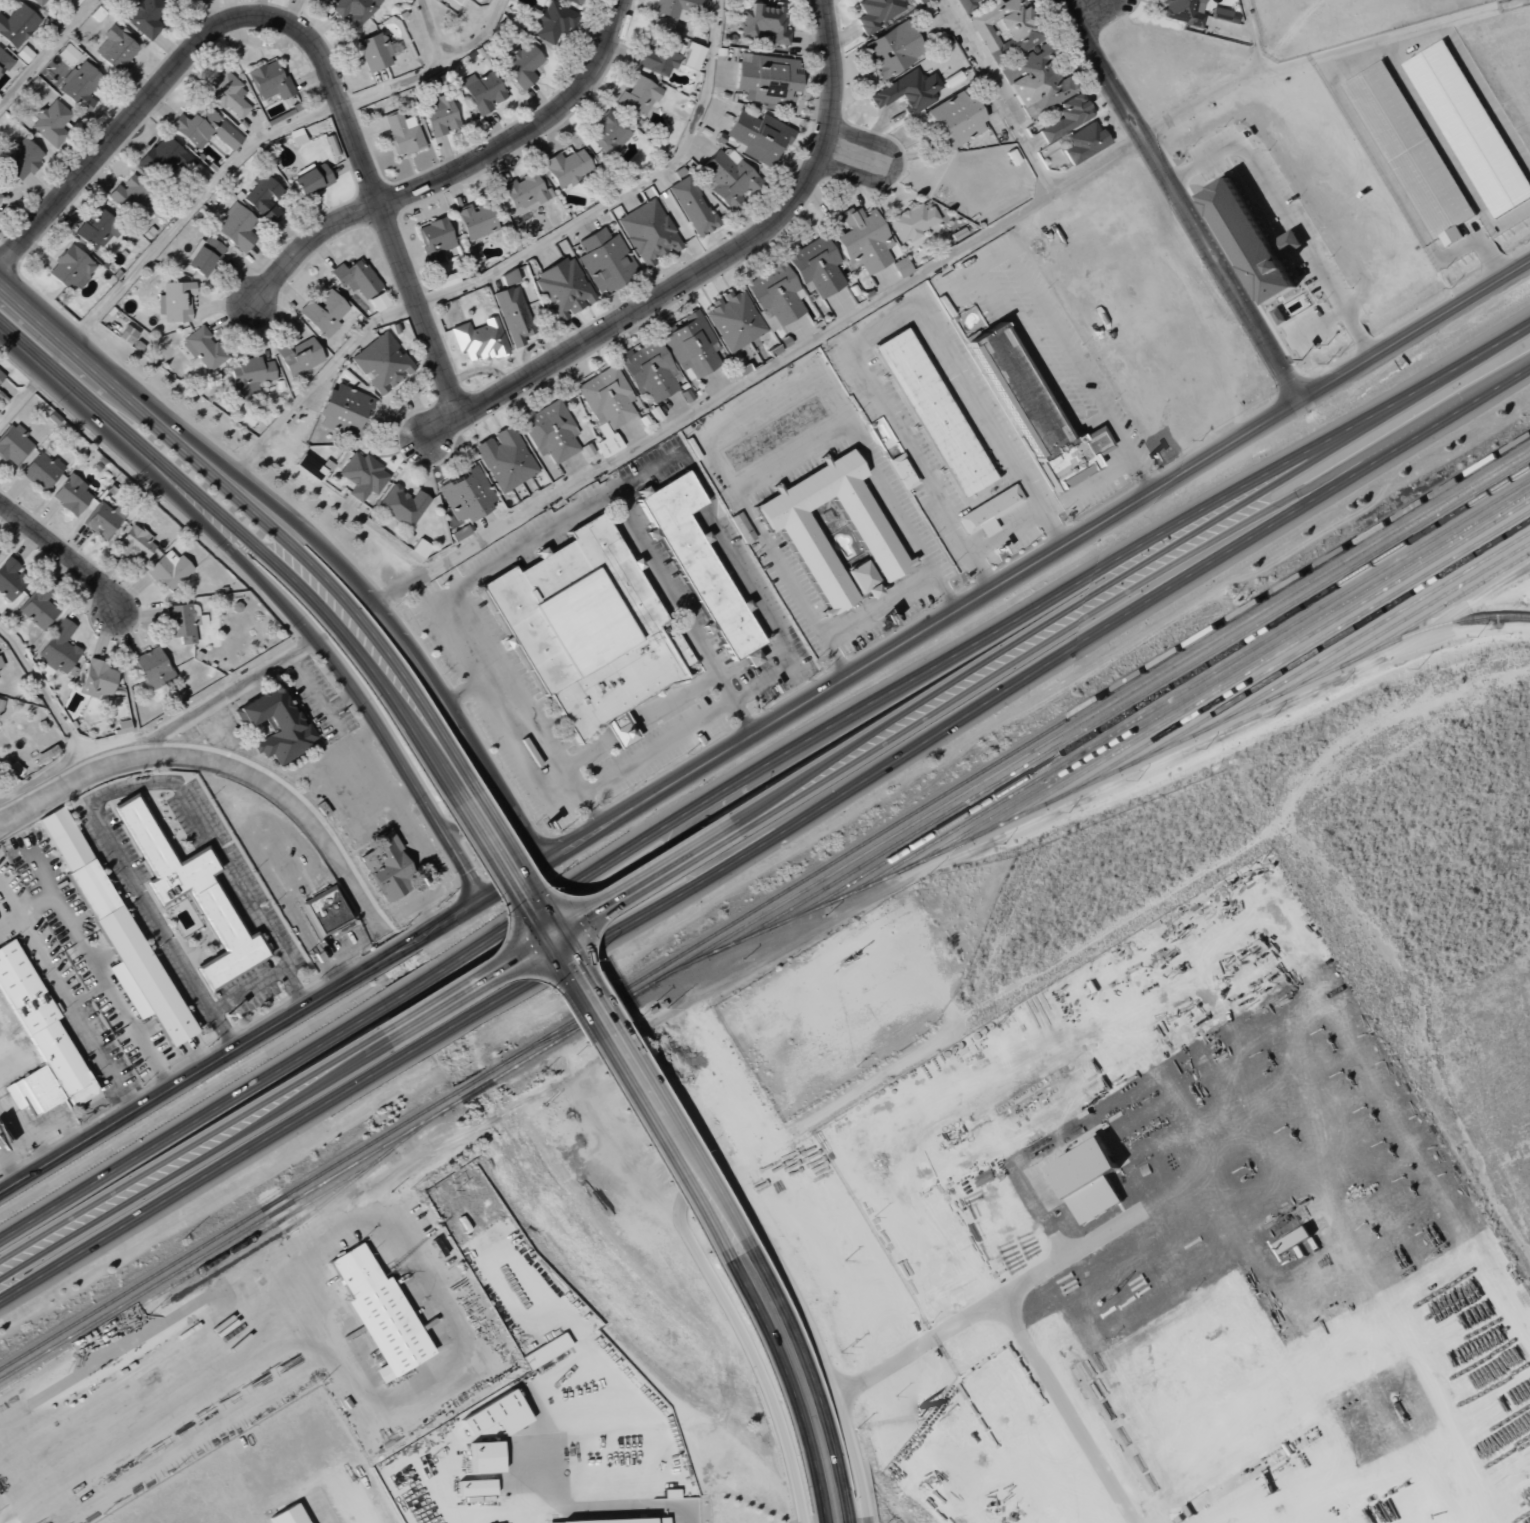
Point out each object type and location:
building: (50, 0)
building: (324, 0)
building: (458, 1)
building: (574, 1)
building: (920, 1)
building: (38, 2)
building: (73, 2)
building: (676, 8)
building: (354, 9)
building: (879, 11)
building: (1184, 11)
building: (145, 17)
building: (1004, 20)
building: (553, 22)
building: (764, 23)
building: (17, 25)
road: (303, 36)
building: (115, 49)
road: (44, 50)
building: (891, 50)
building: (376, 51)
building: (68, 54)
road: (452, 55)
building: (692, 56)
building: (659, 58)
building: (4, 61)
building: (522, 65)
building: (767, 79)
building: (269, 81)
building: (1039, 81)
building: (80, 85)
road: (393, 87)
building: (908, 90)
building: (483, 91)
building: (228, 95)
building: (637, 97)
building: (444, 114)
building: (1066, 117)
building: (955, 118)
building: (51, 122)
building: (205, 128)
building: (1470, 128)
building: (402, 133)
building: (609, 134)
building: (758, 135)
building: (296, 136)
building: (1084, 142)
building: (1409, 149)
road: (852, 156)
building: (163, 158)
building: (20, 160)
road: (1097, 163)
building: (567, 167)
road: (456, 169)
building: (274, 176)
building: (311, 178)
building: (525, 191)
road: (621, 194)
building: (128, 195)
building: (0, 196)
building: (264, 199)
road: (1181, 200)
road: (189, 206)
building: (692, 206)
road: (1290, 217)
building: (475, 220)
building: (912, 222)
building: (236, 227)
building: (95, 230)
building: (648, 232)
building: (1294, 236)
building: (436, 240)
building: (865, 240)
building: (1251, 240)
building: (204, 256)
road: (993, 258)
building: (606, 260)
building: (817, 266)
building: (70, 267)
building: (901, 267)
road: (702, 273)
building: (509, 277)
building: (356, 278)
building: (446, 279)
building: (564, 288)
building: (777, 294)
building: (175, 301)
building: (378, 301)
road: (21, 303)
building: (323, 313)
building: (513, 314)
building: (1280, 315)
building: (735, 319)
road: (876, 324)
road: (1320, 326)
road: (5, 330)
building: (126, 335)
road: (1061, 338)
building: (479, 340)
road: (63, 342)
road: (808, 342)
road: (1026, 345)
building: (692, 346)
building: (203, 349)
building: (299, 356)
building: (381, 363)
building: (650, 370)
building: (1, 375)
building: (249, 375)
road: (320, 378)
building: (607, 405)
building: (343, 410)
building: (930, 411)
building: (1035, 411)
road: (1085, 425)
building: (551, 432)
building: (13, 444)
road: (144, 449)
road: (189, 454)
road: (1129, 454)
road: (790, 457)
building: (505, 459)
road: (1311, 460)
road: (1349, 466)
building: (310, 467)
building: (904, 469)
building: (41, 470)
building: (362, 476)
road: (255, 487)
road: (165, 491)
building: (466, 494)
building: (71, 495)
building: (402, 505)
road: (339, 509)
building: (988, 510)
building: (105, 519)
road: (1004, 534)
road: (531, 537)
building: (134, 543)
building: (806, 544)
road: (63, 549)
building: (418, 550)
road: (725, 551)
building: (697, 560)
building: (169, 570)
building: (862, 578)
building: (10, 579)
road: (972, 600)
road: (878, 604)
building: (38, 607)
railway: (1405, 617)
building: (183, 622)
railway: (1438, 626)
building: (589, 629)
road: (440, 630)
railway: (1367, 631)
road: (977, 641)
railway: (1329, 642)
building: (58, 649)
railway: (1291, 654)
road: (379, 663)
building: (0, 664)
railway: (1256, 665)
building: (152, 668)
road: (981, 671)
railway: (1220, 677)
building: (97, 679)
road: (472, 685)
railway: (1187, 687)
road: (995, 695)
railway: (1156, 695)
road: (340, 700)
building: (0, 701)
railway: (1127, 703)
building: (276, 724)
building: (123, 726)
road: (364, 734)
road: (655, 744)
road: (472, 752)
railway: (1008, 753)
road: (518, 761)
railway: (1010, 764)
road: (405, 771)
railway: (1103, 776)
road: (386, 785)
road: (404, 790)
road: (101, 795)
road: (482, 814)
building: (63, 836)
road: (695, 860)
road: (933, 865)
building: (390, 872)
building: (190, 891)
building: (325, 911)
road: (297, 923)
road: (553, 933)
traffic signals: (548, 937)
building: (127, 951)
road: (396, 951)
road: (411, 988)
road: (126, 1021)
road: (598, 1021)
building: (41, 1025)
road: (440, 1031)
railway: (563, 1031)
road: (102, 1061)
road: (188, 1075)
railway: (471, 1081)
railway: (475, 1090)
building: (33, 1091)
road: (194, 1120)
railway: (402, 1138)
road: (189, 1153)
road: (210, 1171)
building: (1089, 1180)
road: (712, 1184)
railway: (227, 1229)
railway: (260, 1233)
railway: (274, 1237)
railway: (229, 1239)
road: (988, 1310)
building: (379, 1313)
building: (546, 1351)
railway: (35, 1370)
road: (801, 1384)
road: (1075, 1410)
building: (497, 1415)
building: (485, 1457)
building: (476, 1487)
building: (288, 1515)
building: (625, 1520)

